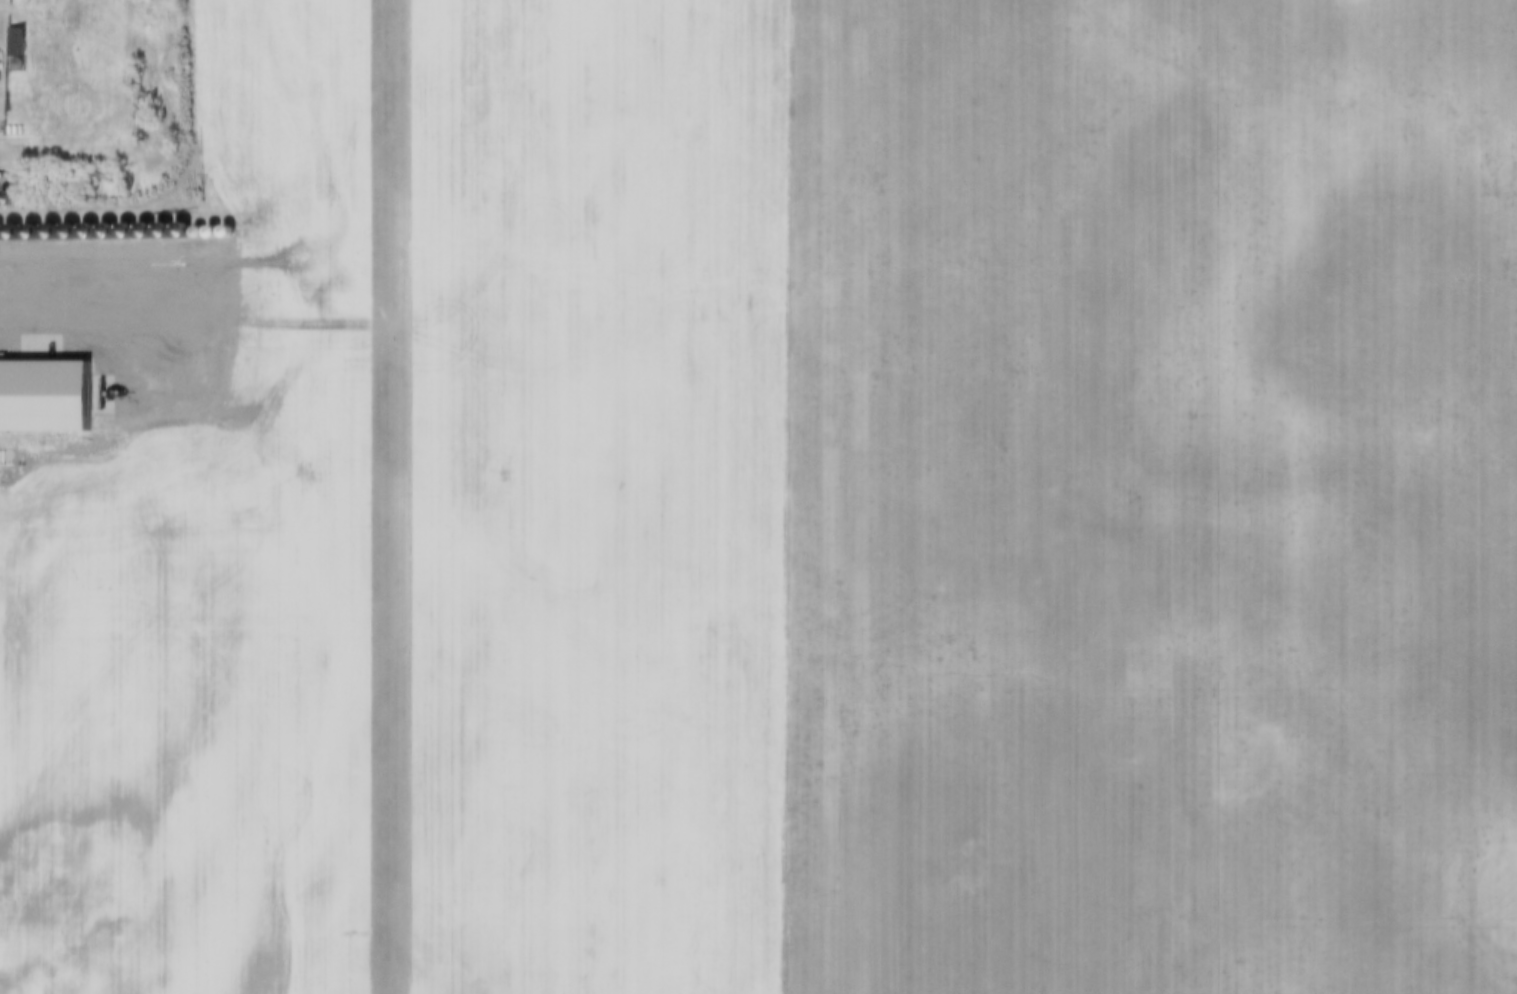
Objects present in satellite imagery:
building: (10, 40)
road: (191, 256)
airport runway: (382, 497)

